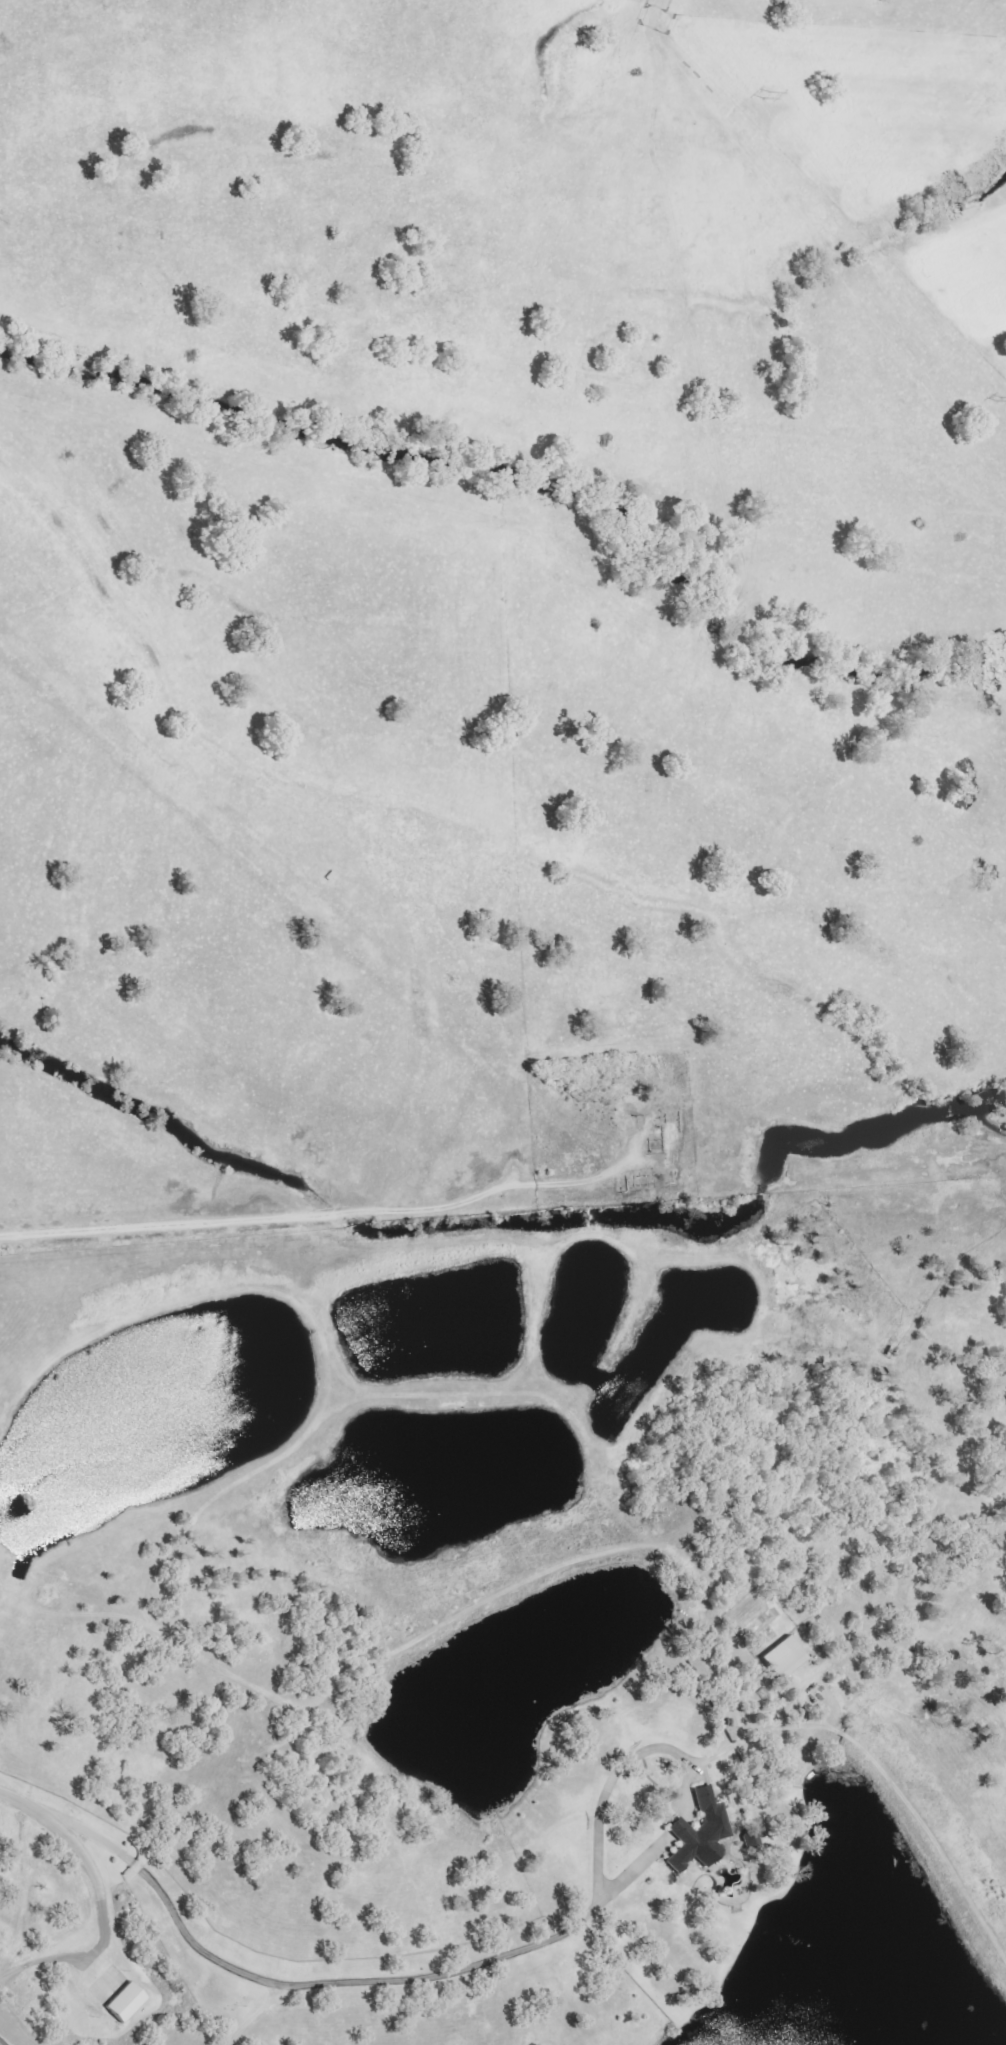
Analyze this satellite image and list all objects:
power tower: (762, 96)
power tower: (995, 401)
building: (781, 1657)
building: (696, 1832)
building: (122, 2002)

